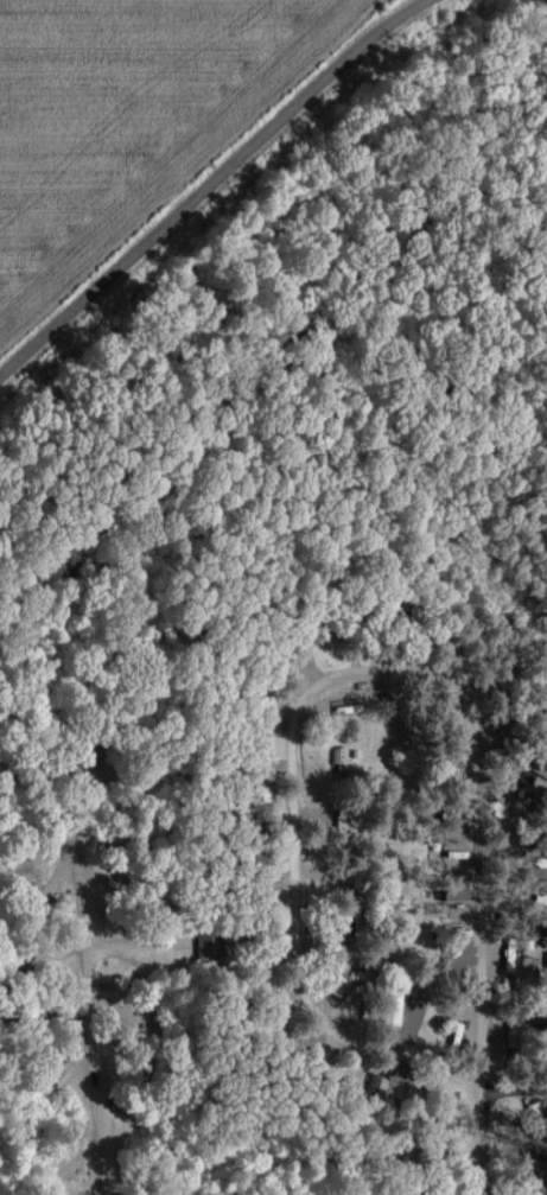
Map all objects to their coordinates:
road: (209, 184)
road: (503, 662)
building: (367, 732)
building: (529, 768)
park: (279, 858)
road: (295, 869)
road: (478, 878)
building: (352, 917)
building: (205, 946)
road: (88, 959)
building: (341, 984)
road: (514, 1086)
road: (477, 1143)

